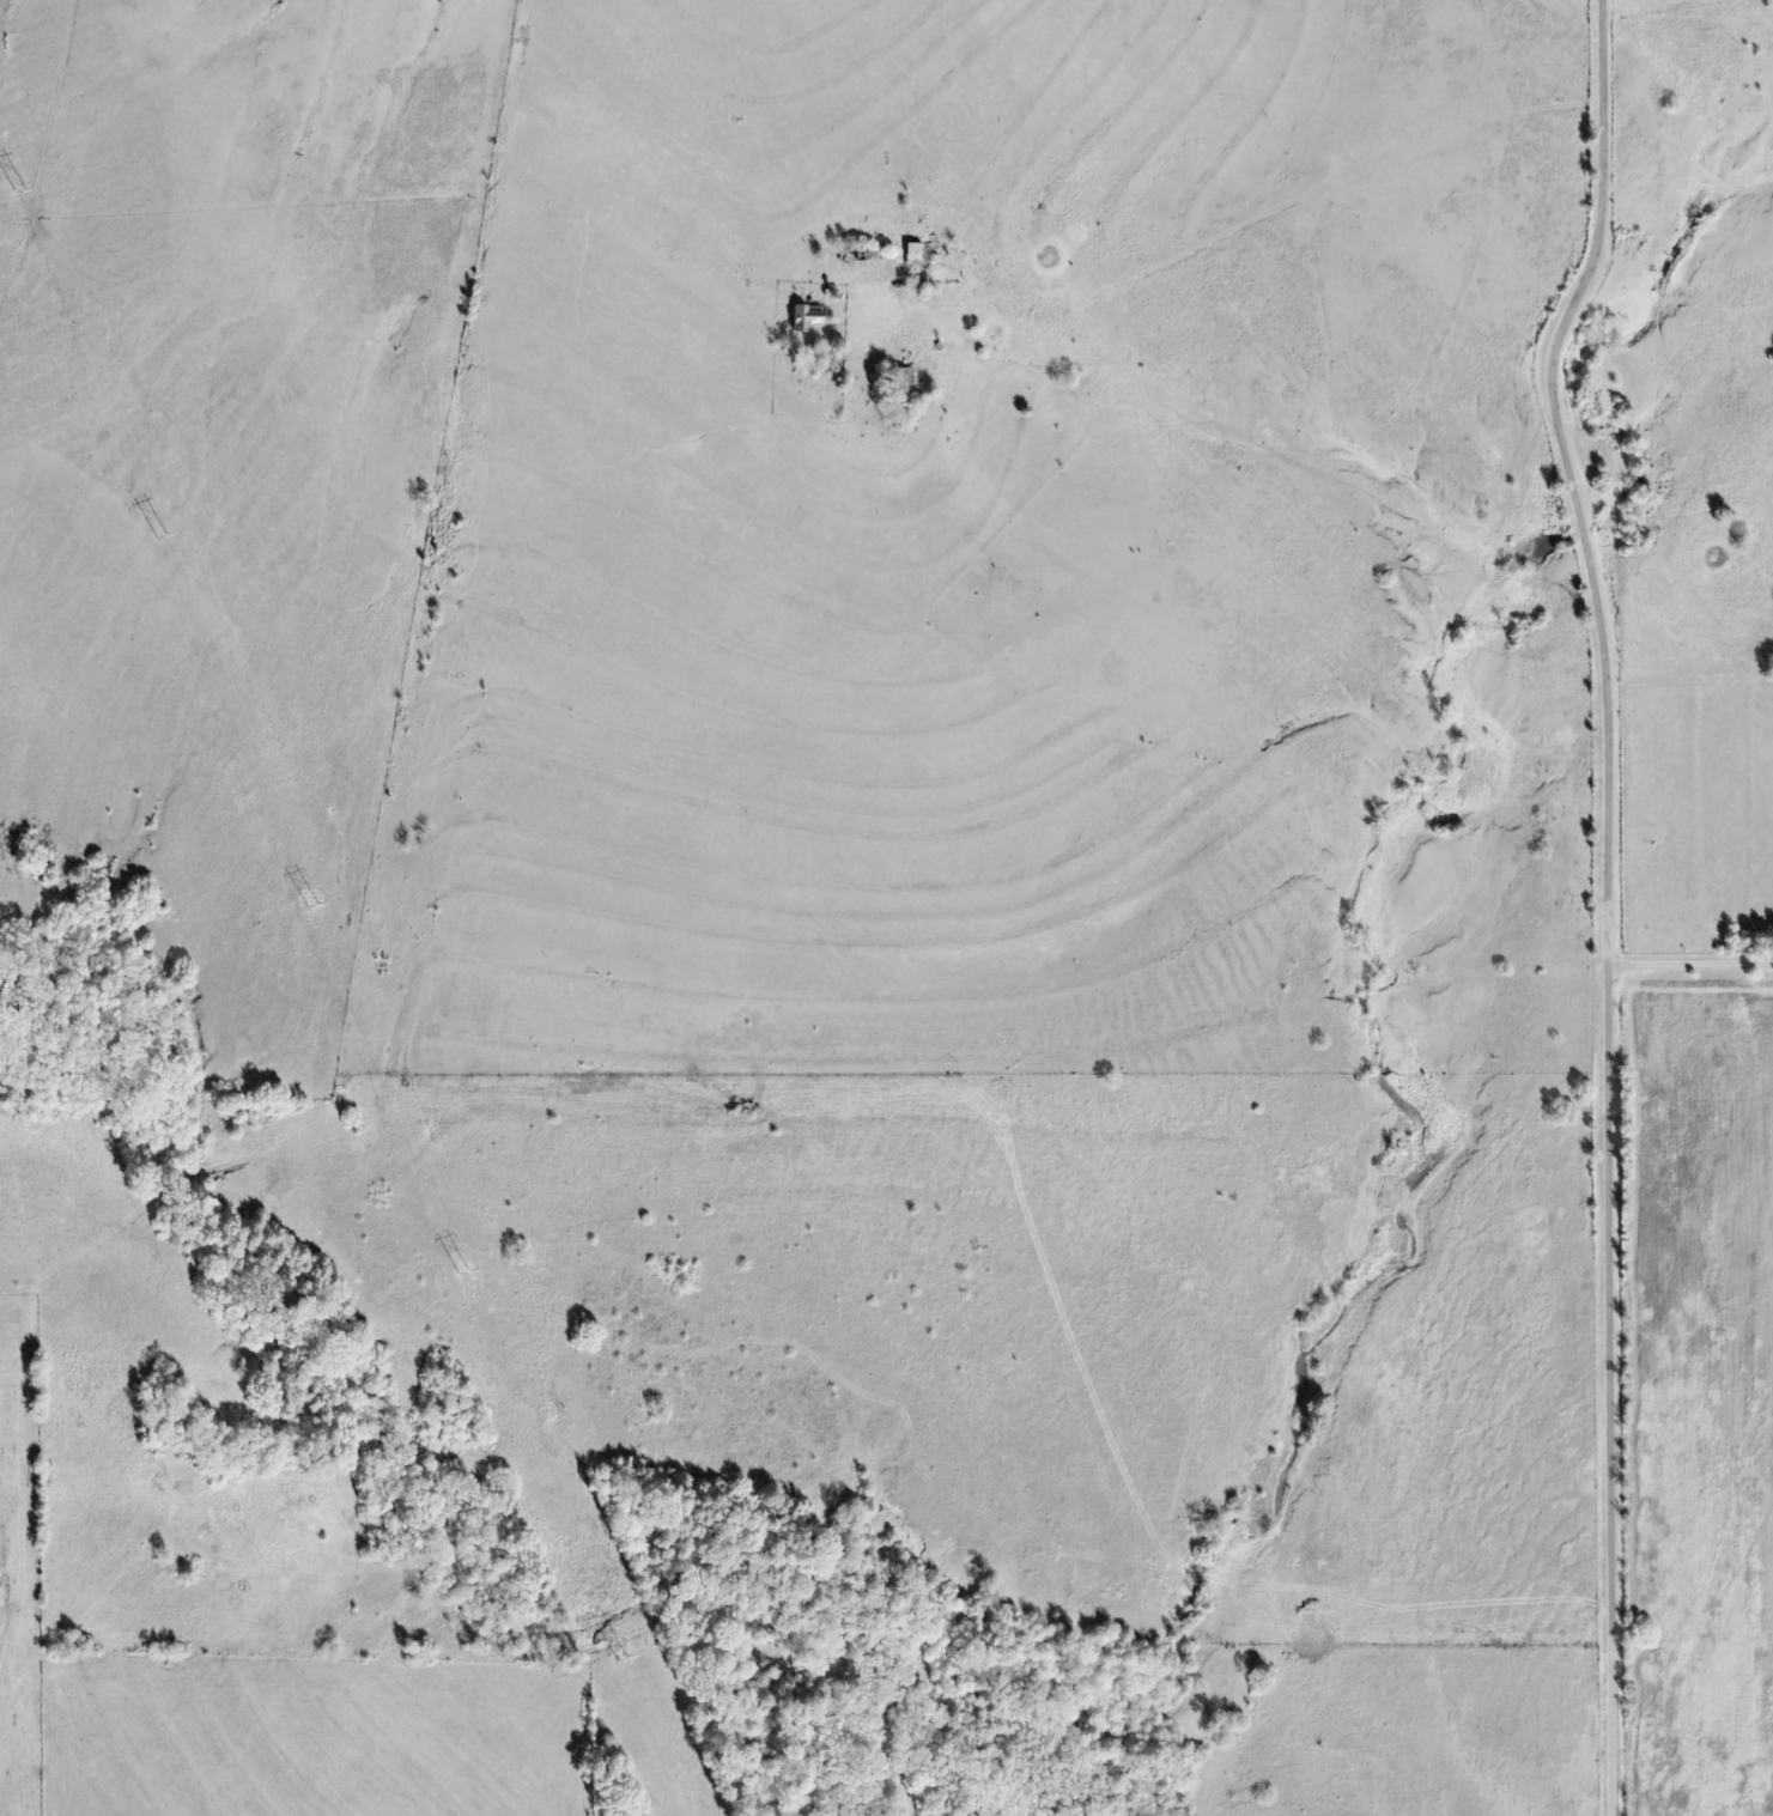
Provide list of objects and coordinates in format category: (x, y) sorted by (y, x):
power tower: (18, 193)
road: (1259, 208)
building: (917, 254)
building: (806, 317)
power tower: (159, 537)
road: (1604, 802)
power tower: (310, 907)
road: (1688, 952)
power tower: (462, 1275)
power tower: (619, 1660)
road: (1616, 1720)

